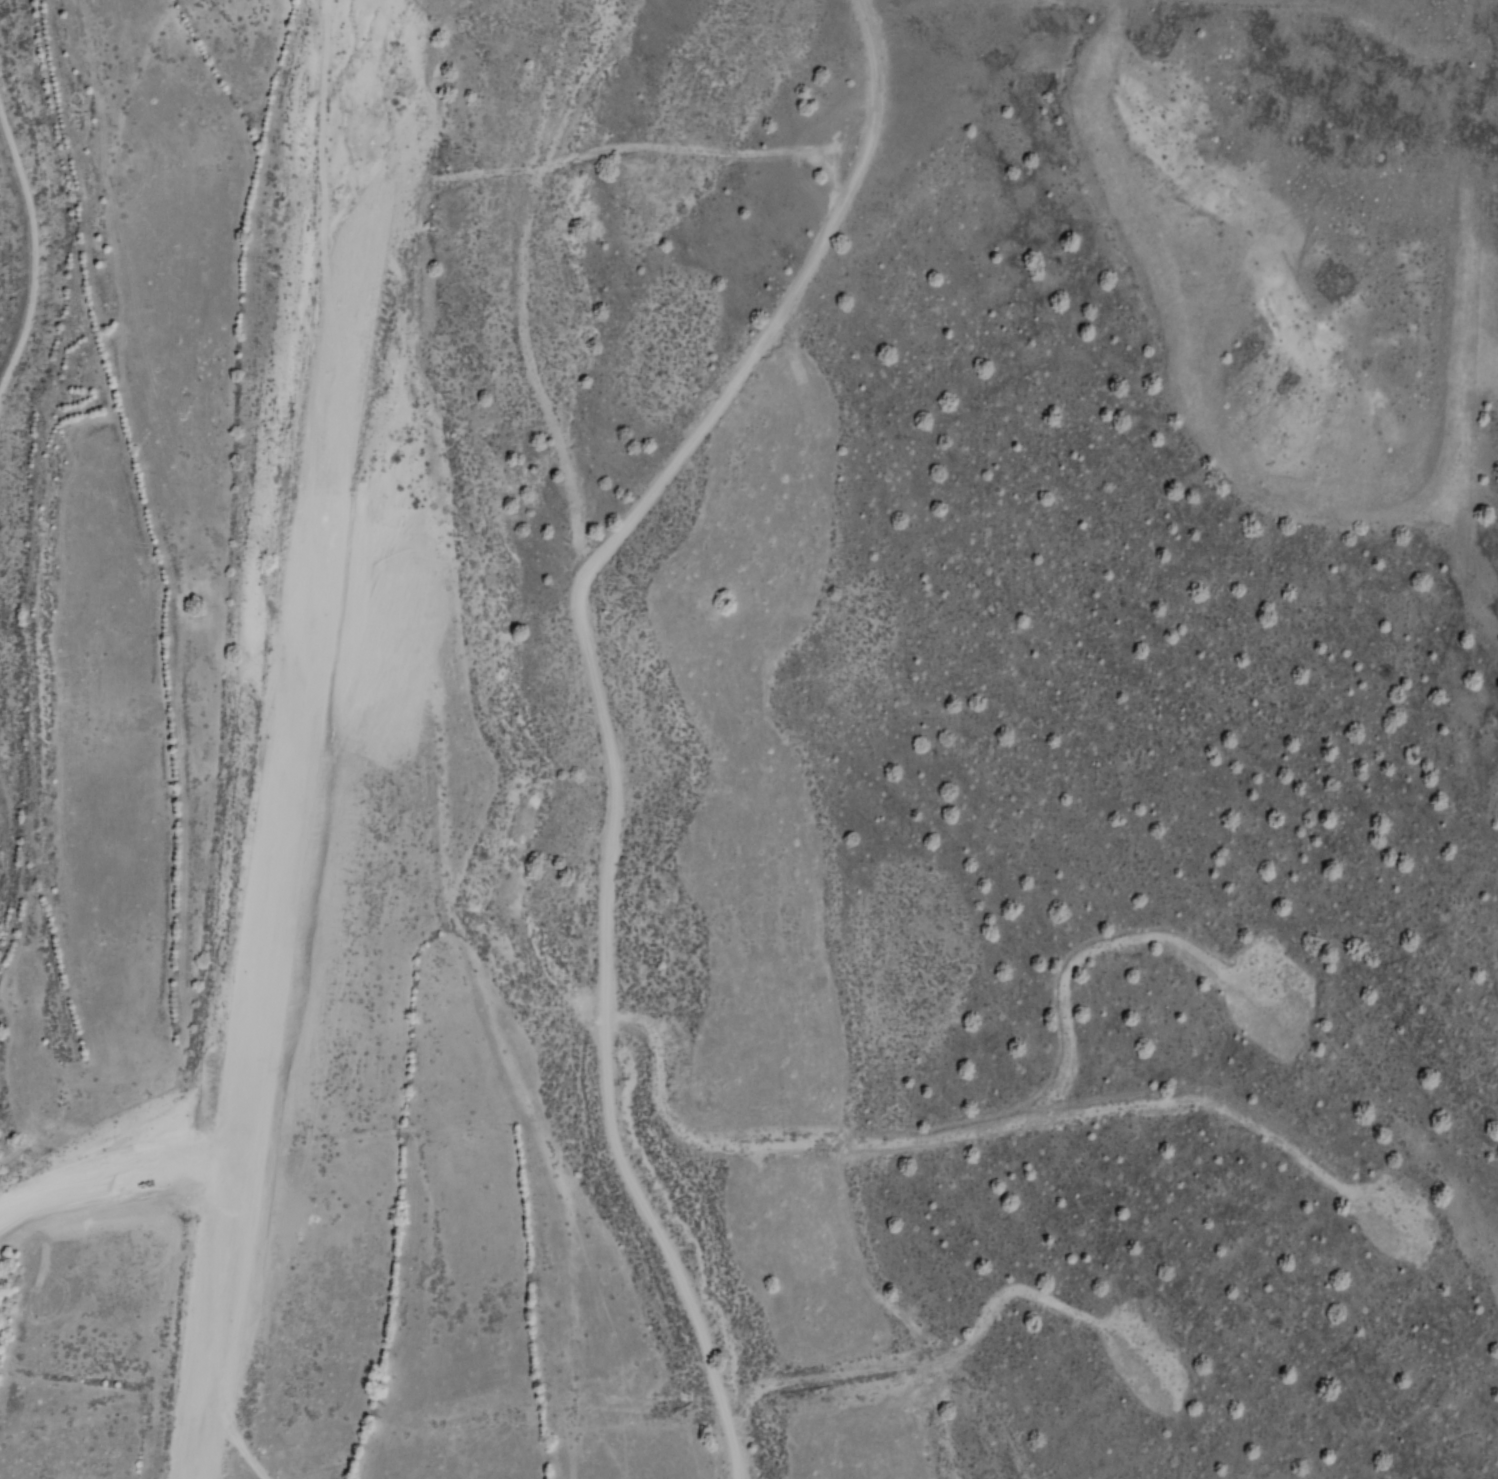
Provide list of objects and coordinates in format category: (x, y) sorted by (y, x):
road: (38, 229)
airport runway: (274, 739)
road: (615, 744)
airport taxiway: (103, 1180)

